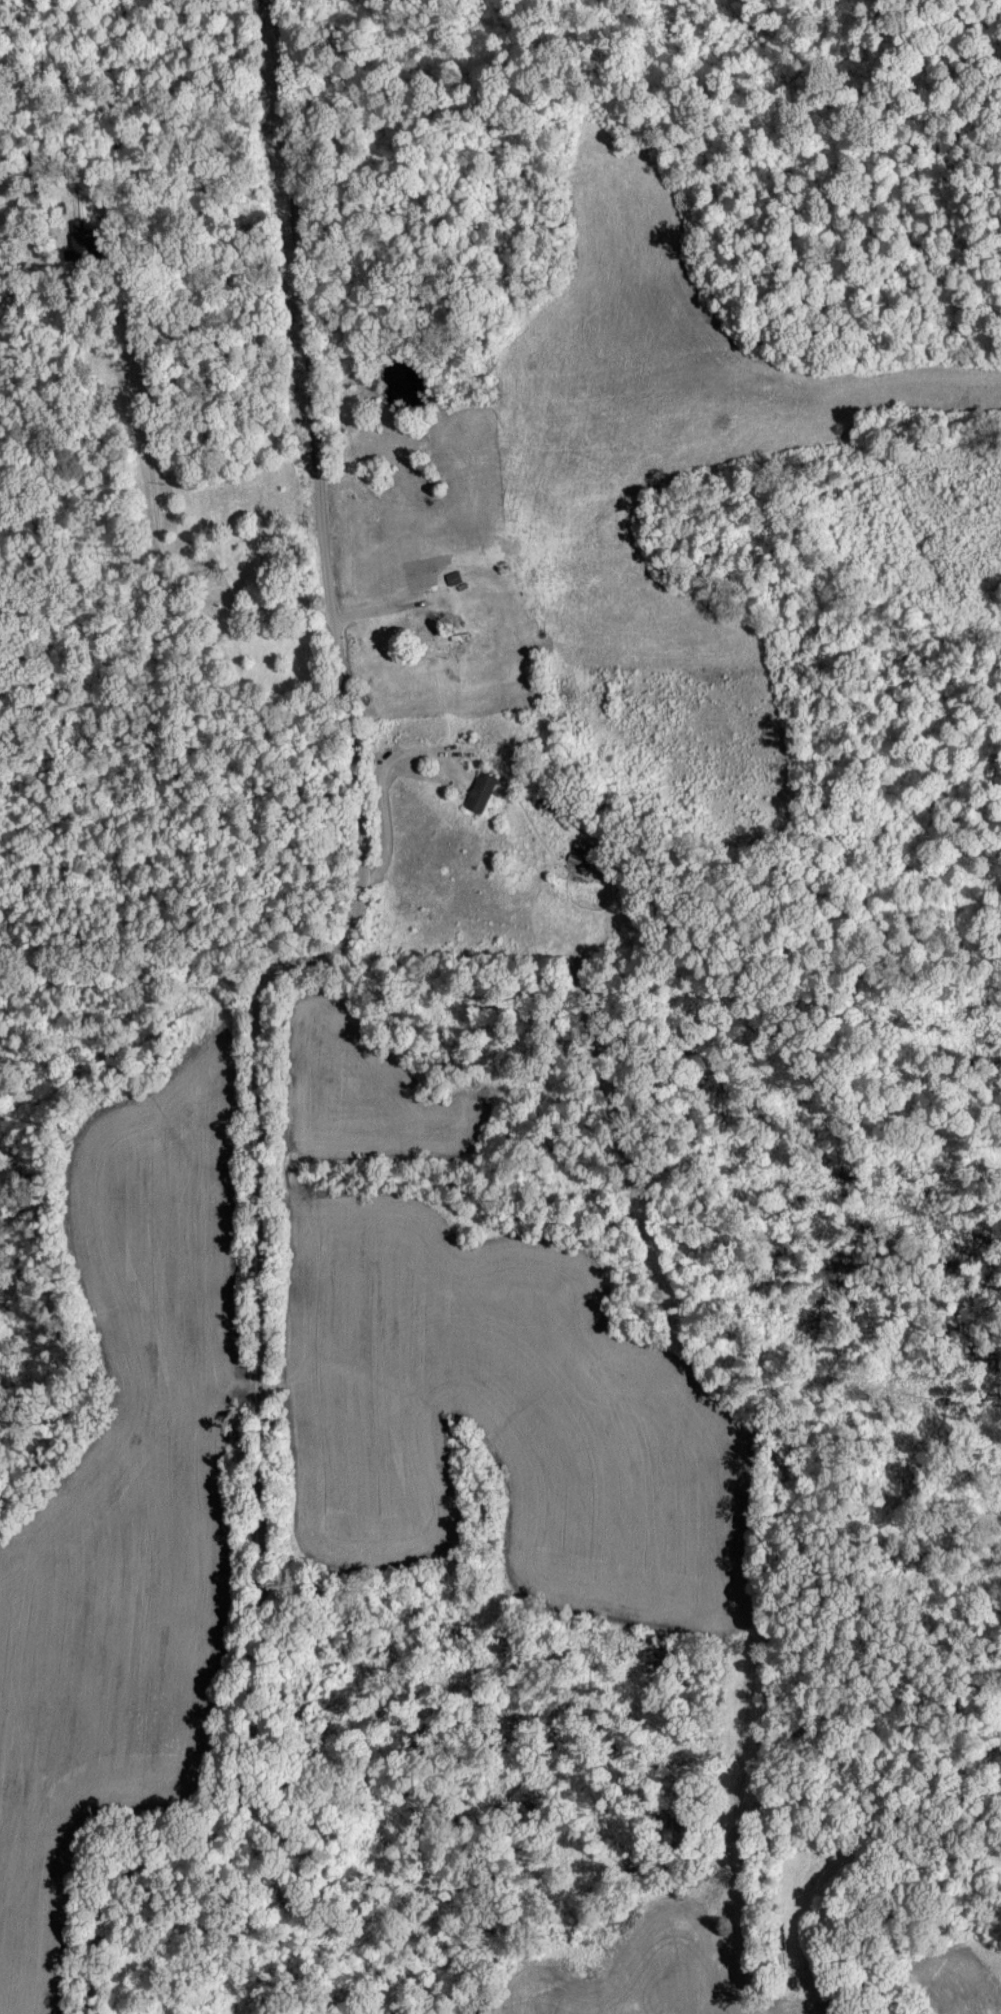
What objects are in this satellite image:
building: (84, 243)
building: (420, 630)
building: (478, 791)
road: (249, 1017)

